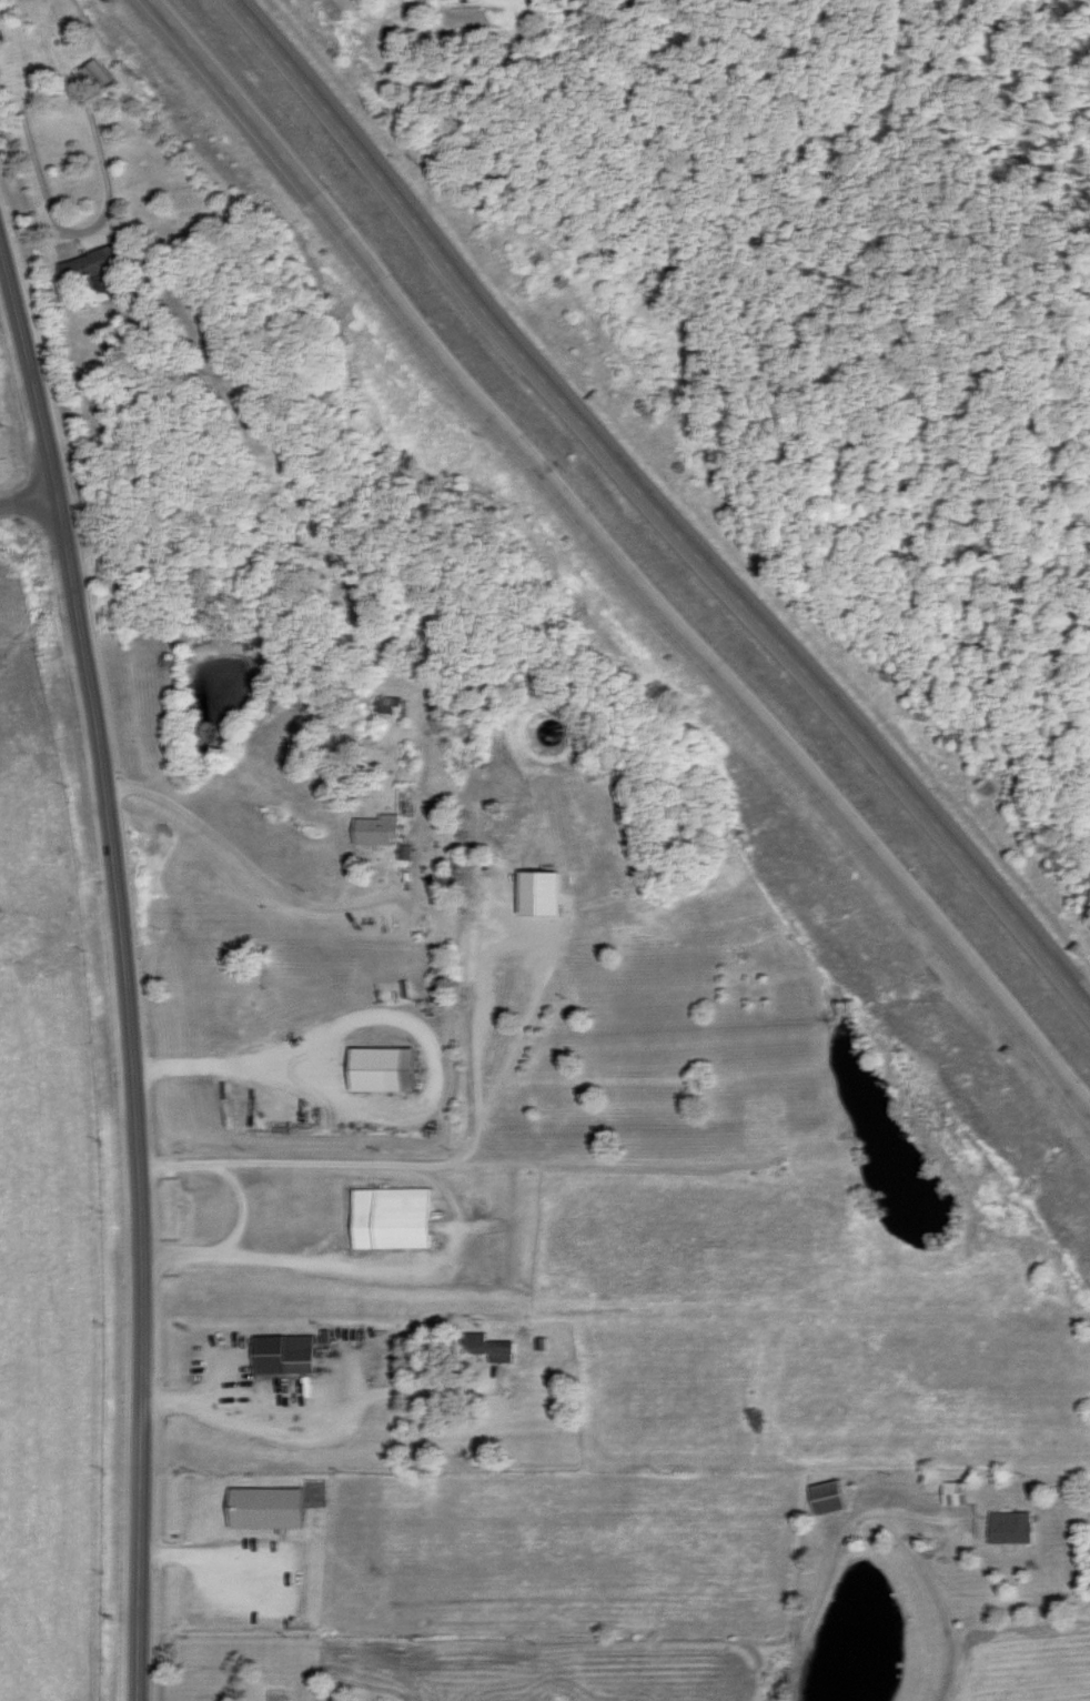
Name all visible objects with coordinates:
building: (102, 74)
road: (64, 227)
building: (102, 266)
road: (28, 499)
road: (664, 502)
road: (624, 561)
building: (395, 705)
building: (382, 829)
building: (407, 852)
road: (280, 890)
building: (548, 893)
road: (124, 970)
road: (235, 1067)
building: (391, 1069)
road: (460, 1160)
road: (240, 1201)
building: (398, 1218)
road: (350, 1272)
building: (492, 1347)
building: (291, 1353)
road: (323, 1399)
building: (961, 1492)
building: (836, 1497)
building: (274, 1507)
building: (1016, 1527)
road: (212, 1553)
road: (821, 1609)

